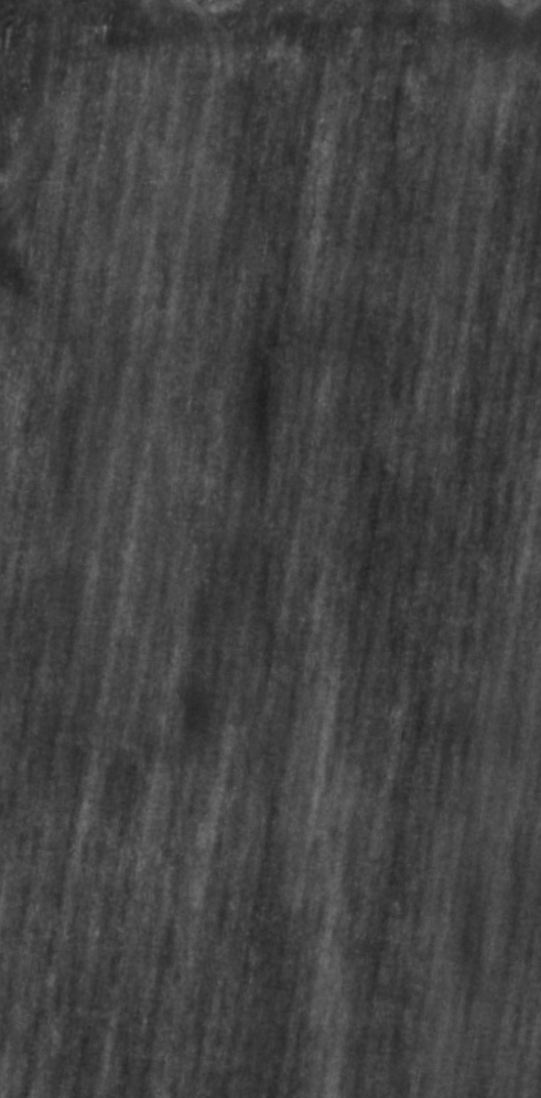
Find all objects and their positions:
crop: (270, 548)

